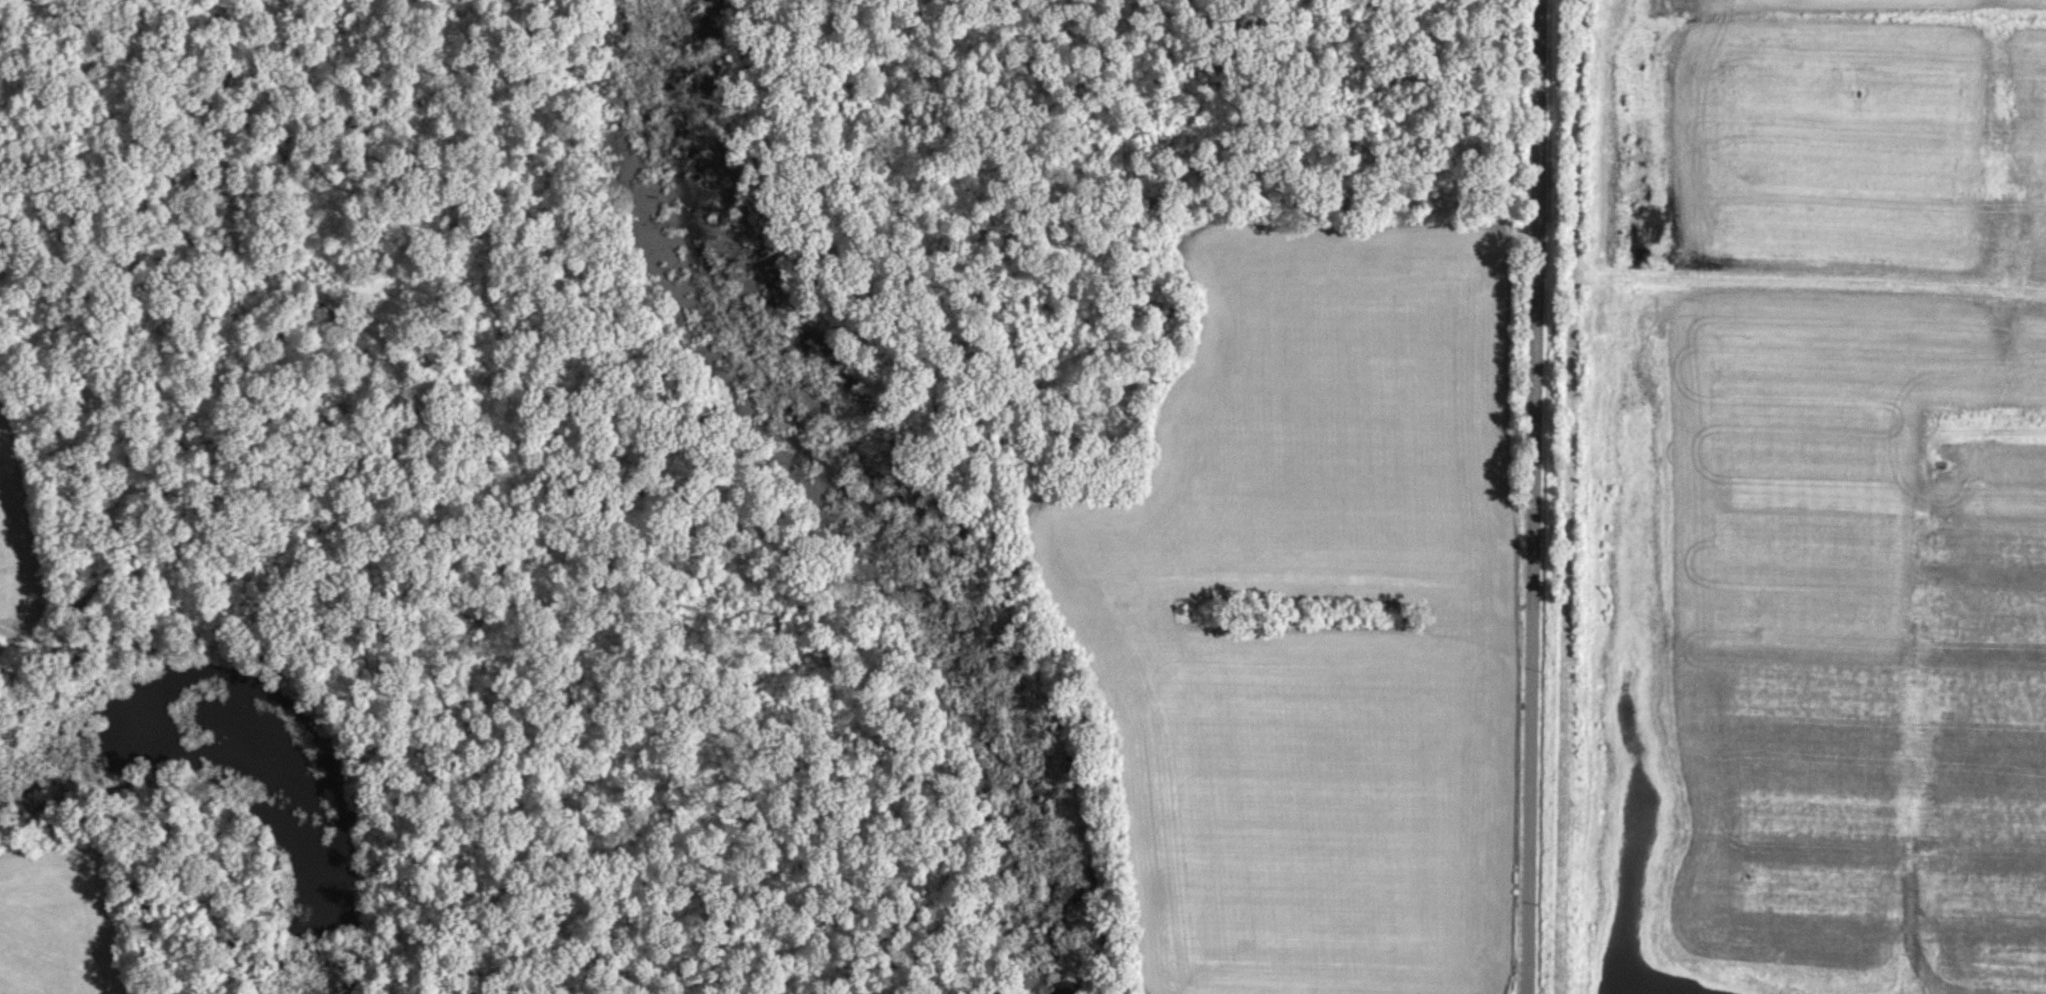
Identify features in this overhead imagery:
road: (1533, 496)

